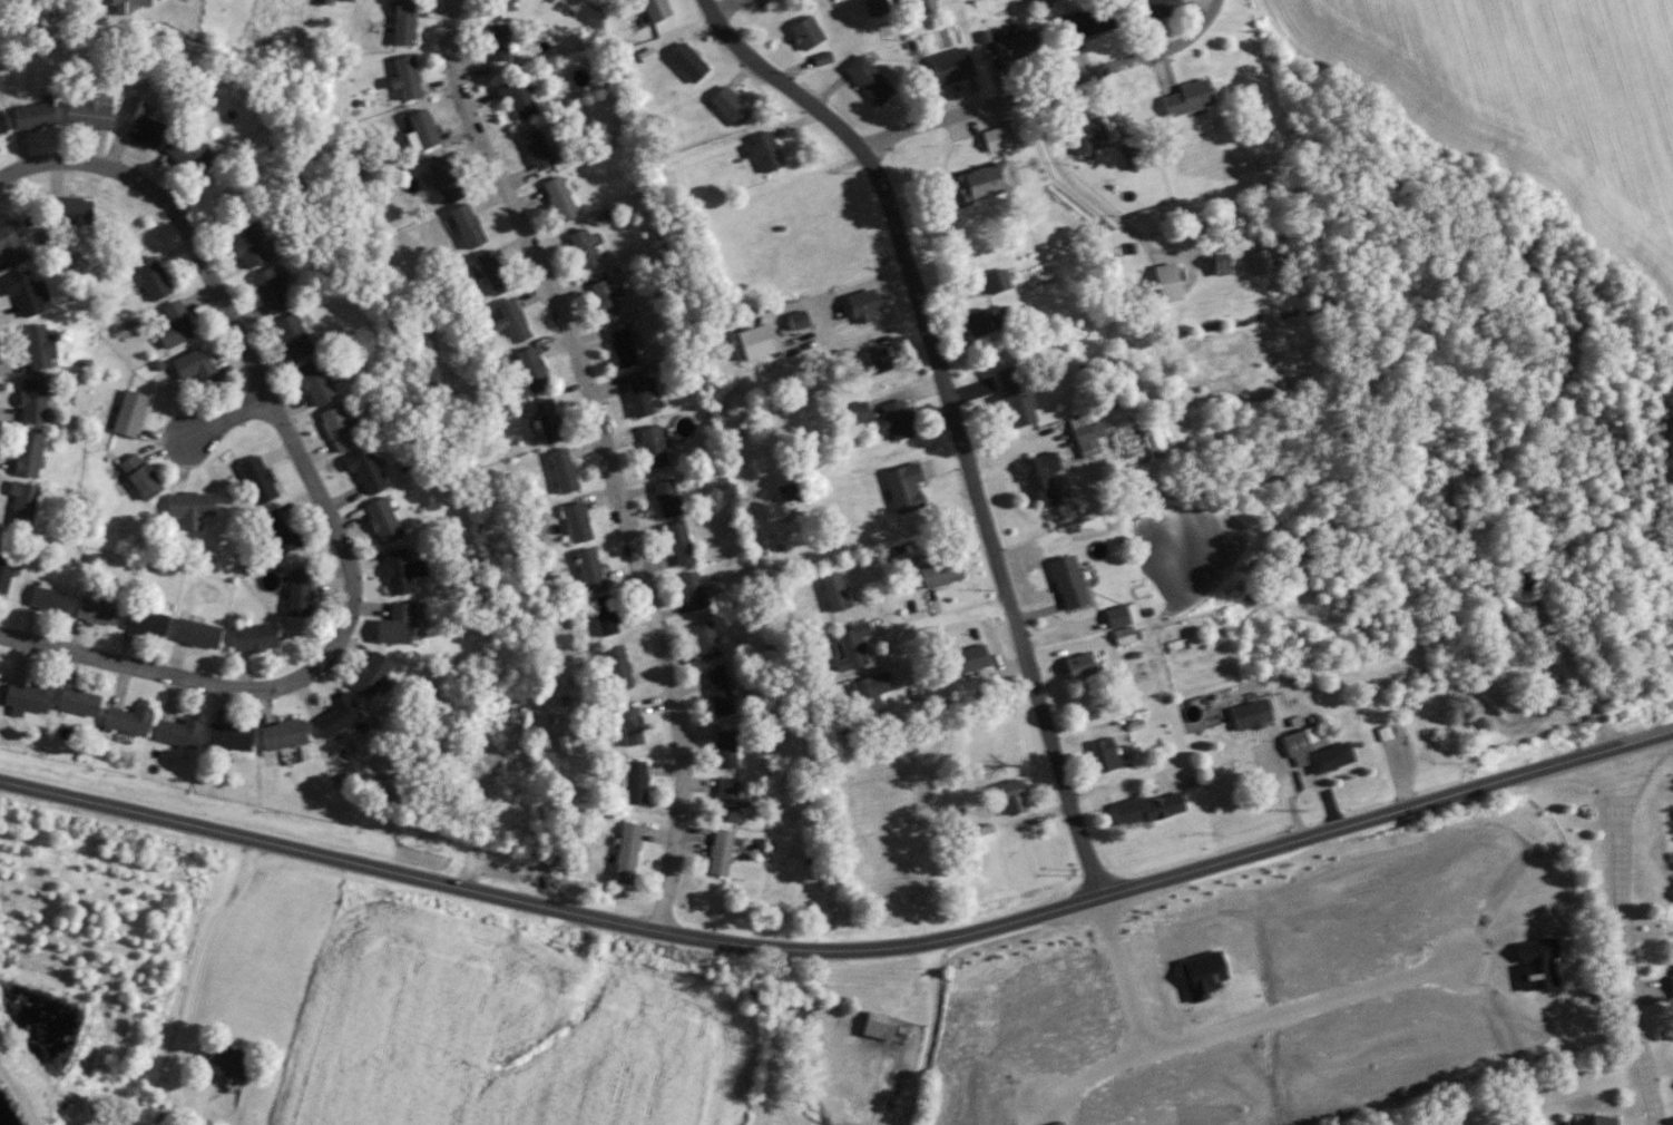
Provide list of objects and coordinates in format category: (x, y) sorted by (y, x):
building: (350, 0)
building: (906, 0)
building: (326, 2)
building: (501, 4)
building: (924, 4)
building: (126, 6)
road: (726, 6)
building: (874, 6)
building: (1157, 8)
building: (655, 9)
building: (1085, 19)
building: (402, 22)
building: (804, 32)
building: (498, 42)
building: (1016, 45)
building: (687, 62)
building: (949, 66)
building: (405, 78)
road: (777, 79)
building: (868, 79)
road: (1048, 87)
building: (1186, 98)
building: (518, 99)
building: (728, 106)
building: (32, 116)
building: (138, 125)
building: (2, 127)
building: (423, 129)
building: (1085, 131)
building: (995, 139)
building: (537, 150)
building: (763, 150)
building: (187, 155)
building: (1131, 156)
building: (444, 179)
building: (978, 183)
road: (1077, 187)
building: (560, 199)
building: (68, 211)
building: (467, 225)
building: (245, 244)
building: (10, 246)
building: (584, 248)
building: (1261, 262)
building: (1220, 267)
building: (491, 272)
building: (151, 277)
building: (996, 281)
building: (1166, 283)
building: (267, 291)
building: (25, 293)
building: (605, 299)
building: (861, 305)
building: (798, 320)
building: (988, 320)
building: (512, 321)
building: (174, 325)
building: (291, 336)
building: (622, 344)
building: (37, 348)
building: (877, 360)
building: (194, 366)
building: (529, 374)
building: (314, 383)
building: (639, 399)
building: (31, 401)
building: (1016, 409)
building: (857, 413)
building: (128, 414)
road: (229, 420)
building: (896, 420)
building: (546, 421)
building: (336, 429)
building: (1086, 434)
building: (654, 447)
building: (26, 454)
road: (608, 456)
building: (363, 471)
building: (561, 471)
building: (138, 477)
building: (256, 479)
building: (1039, 479)
road: (322, 498)
building: (667, 498)
building: (21, 503)
building: (188, 508)
building: (381, 520)
building: (577, 524)
road: (987, 524)
building: (276, 531)
building: (681, 544)
building: (588, 567)
building: (400, 570)
building: (6, 573)
building: (941, 574)
building: (1068, 583)
building: (693, 591)
building: (834, 593)
building: (299, 595)
building: (48, 599)
building: (95, 610)
building: (605, 616)
building: (1122, 616)
road: (887, 617)
road: (951, 618)
building: (145, 622)
building: (393, 626)
building: (195, 633)
building: (253, 638)
building: (706, 640)
building: (852, 646)
building: (966, 659)
building: (1079, 666)
building: (617, 668)
building: (369, 675)
building: (720, 692)
building: (872, 695)
building: (27, 700)
building: (78, 703)
building: (1000, 713)
building: (1251, 715)
building: (335, 716)
building: (127, 721)
building: (629, 726)
building: (177, 733)
building: (282, 735)
building: (228, 737)
building: (726, 749)
building: (1317, 753)
building: (1107, 754)
road: (1280, 769)
building: (635, 783)
road: (1123, 783)
road: (1324, 789)
building: (1014, 796)
building: (727, 800)
building: (1148, 809)
building: (982, 834)
building: (720, 853)
building: (626, 854)
road: (1625, 940)
road: (841, 956)
road: (196, 971)
building: (1672, 986)
building: (878, 1027)
road: (1224, 1027)
road: (932, 1038)
building: (224, 1063)
road: (1089, 1072)
building: (1591, 1121)

